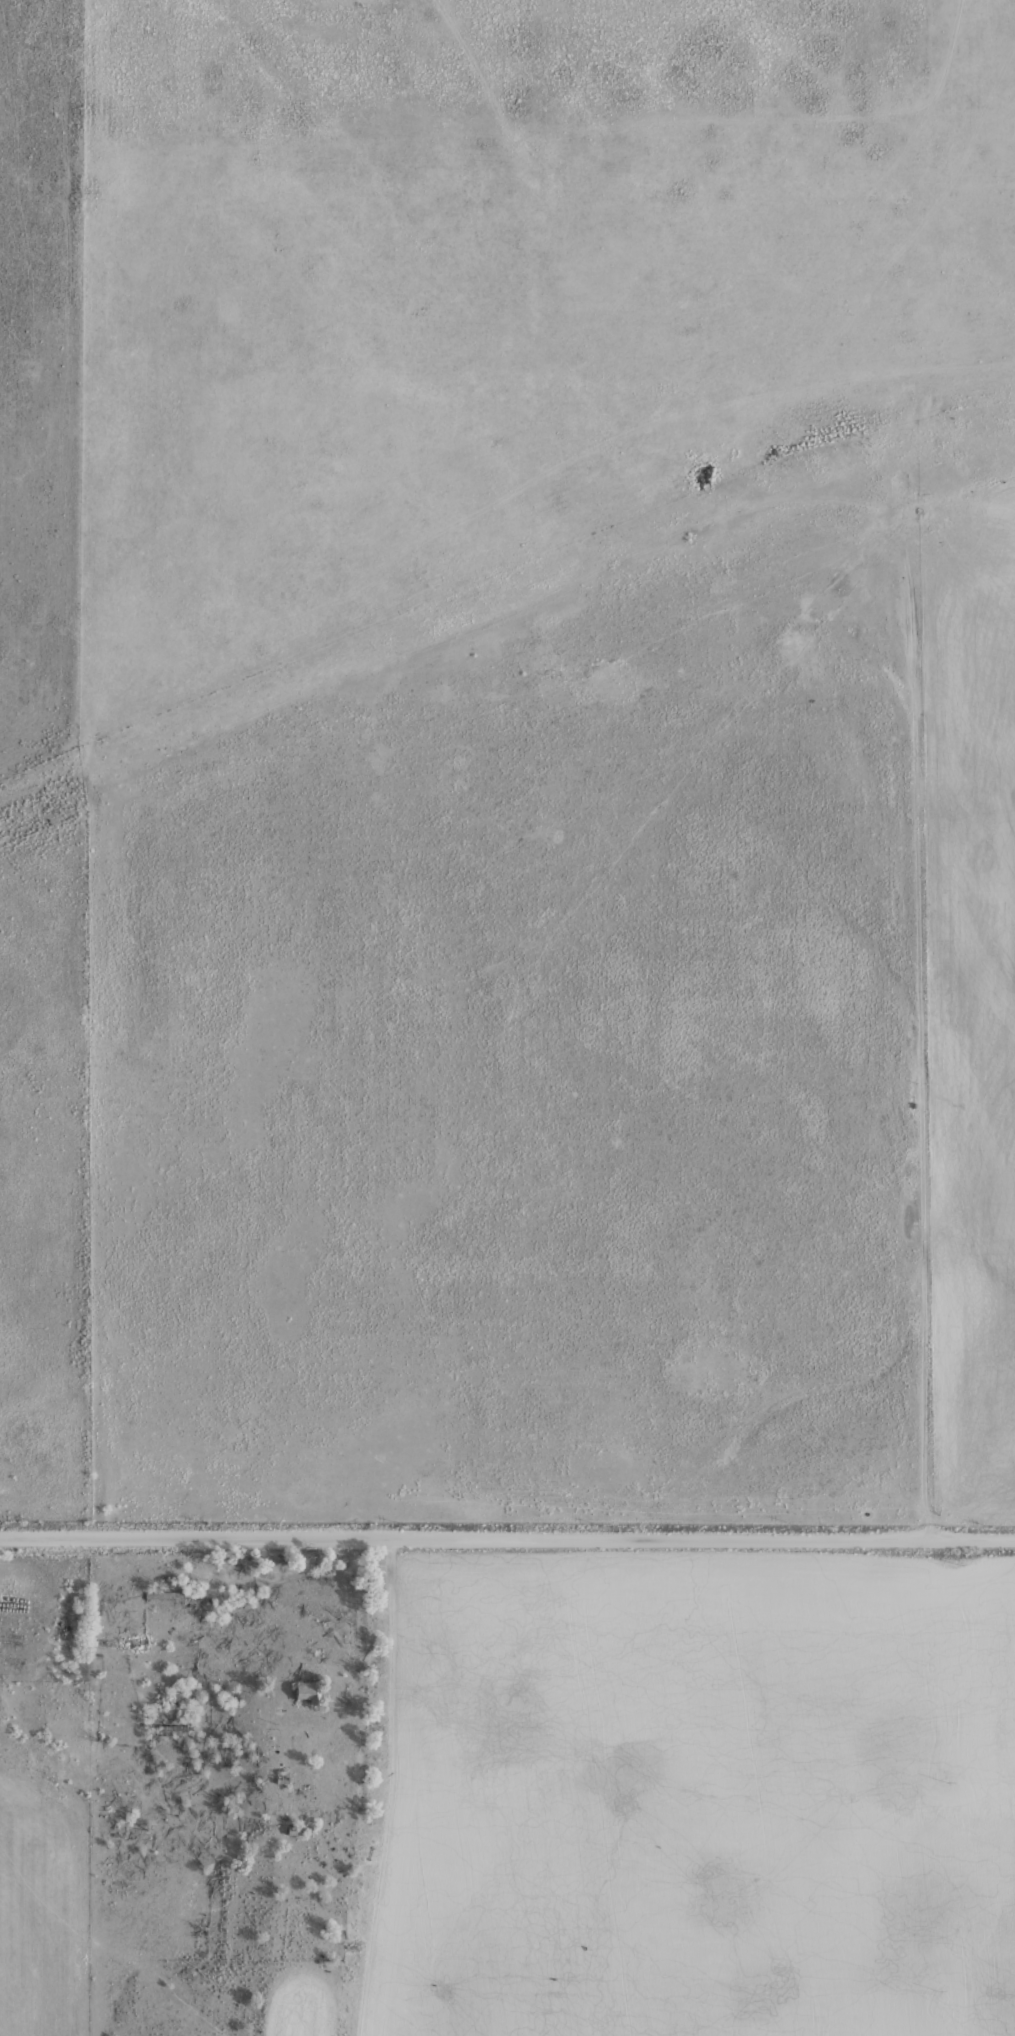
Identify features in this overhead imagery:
road: (507, 1538)
building: (312, 1692)

